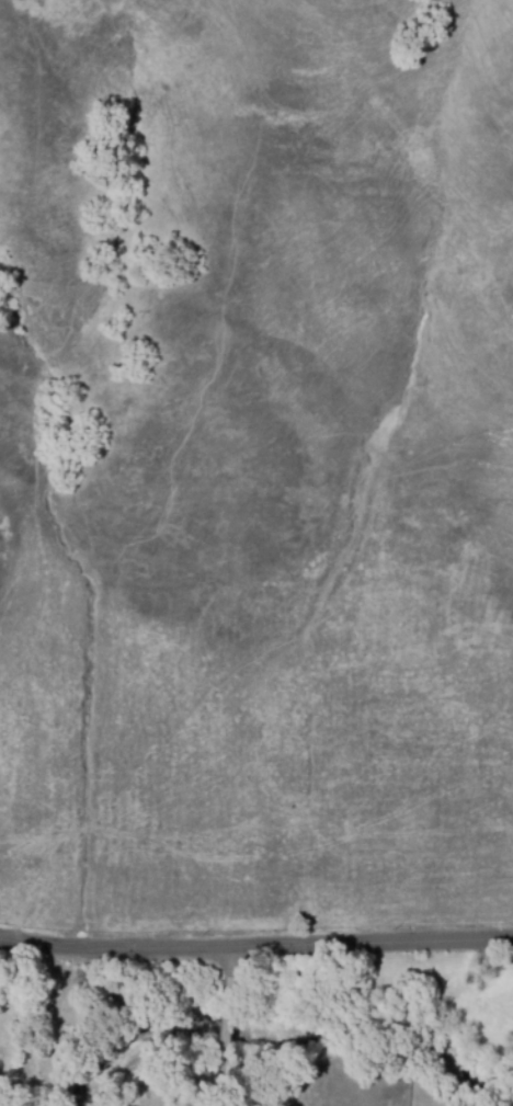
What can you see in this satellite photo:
road: (255, 945)
road: (240, 983)
road: (244, 1062)

